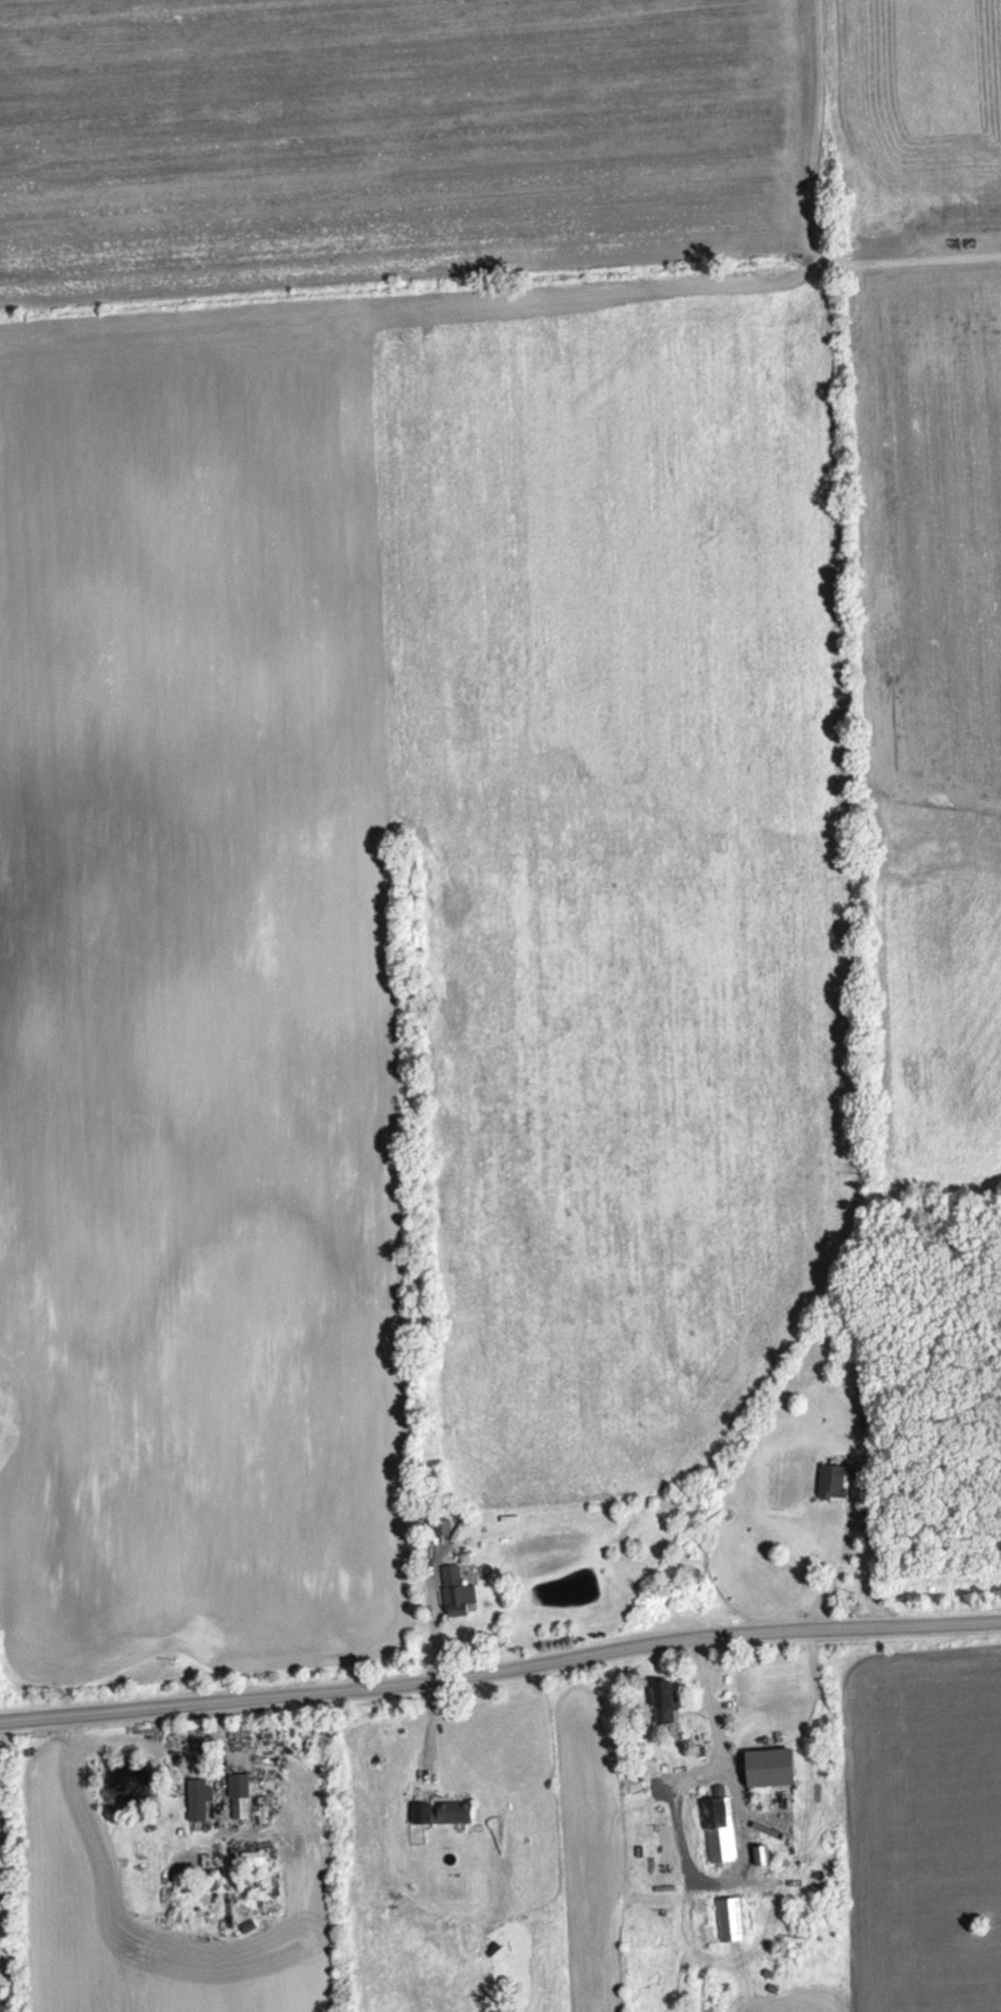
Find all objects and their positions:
building: (834, 1475)
building: (458, 1589)
road: (427, 1603)
road: (500, 1665)
building: (665, 1699)
road: (712, 1706)
building: (241, 1792)
building: (197, 1795)
building: (448, 1809)
building: (721, 1827)
building: (762, 1854)
building: (731, 1918)
building: (3, 2007)

